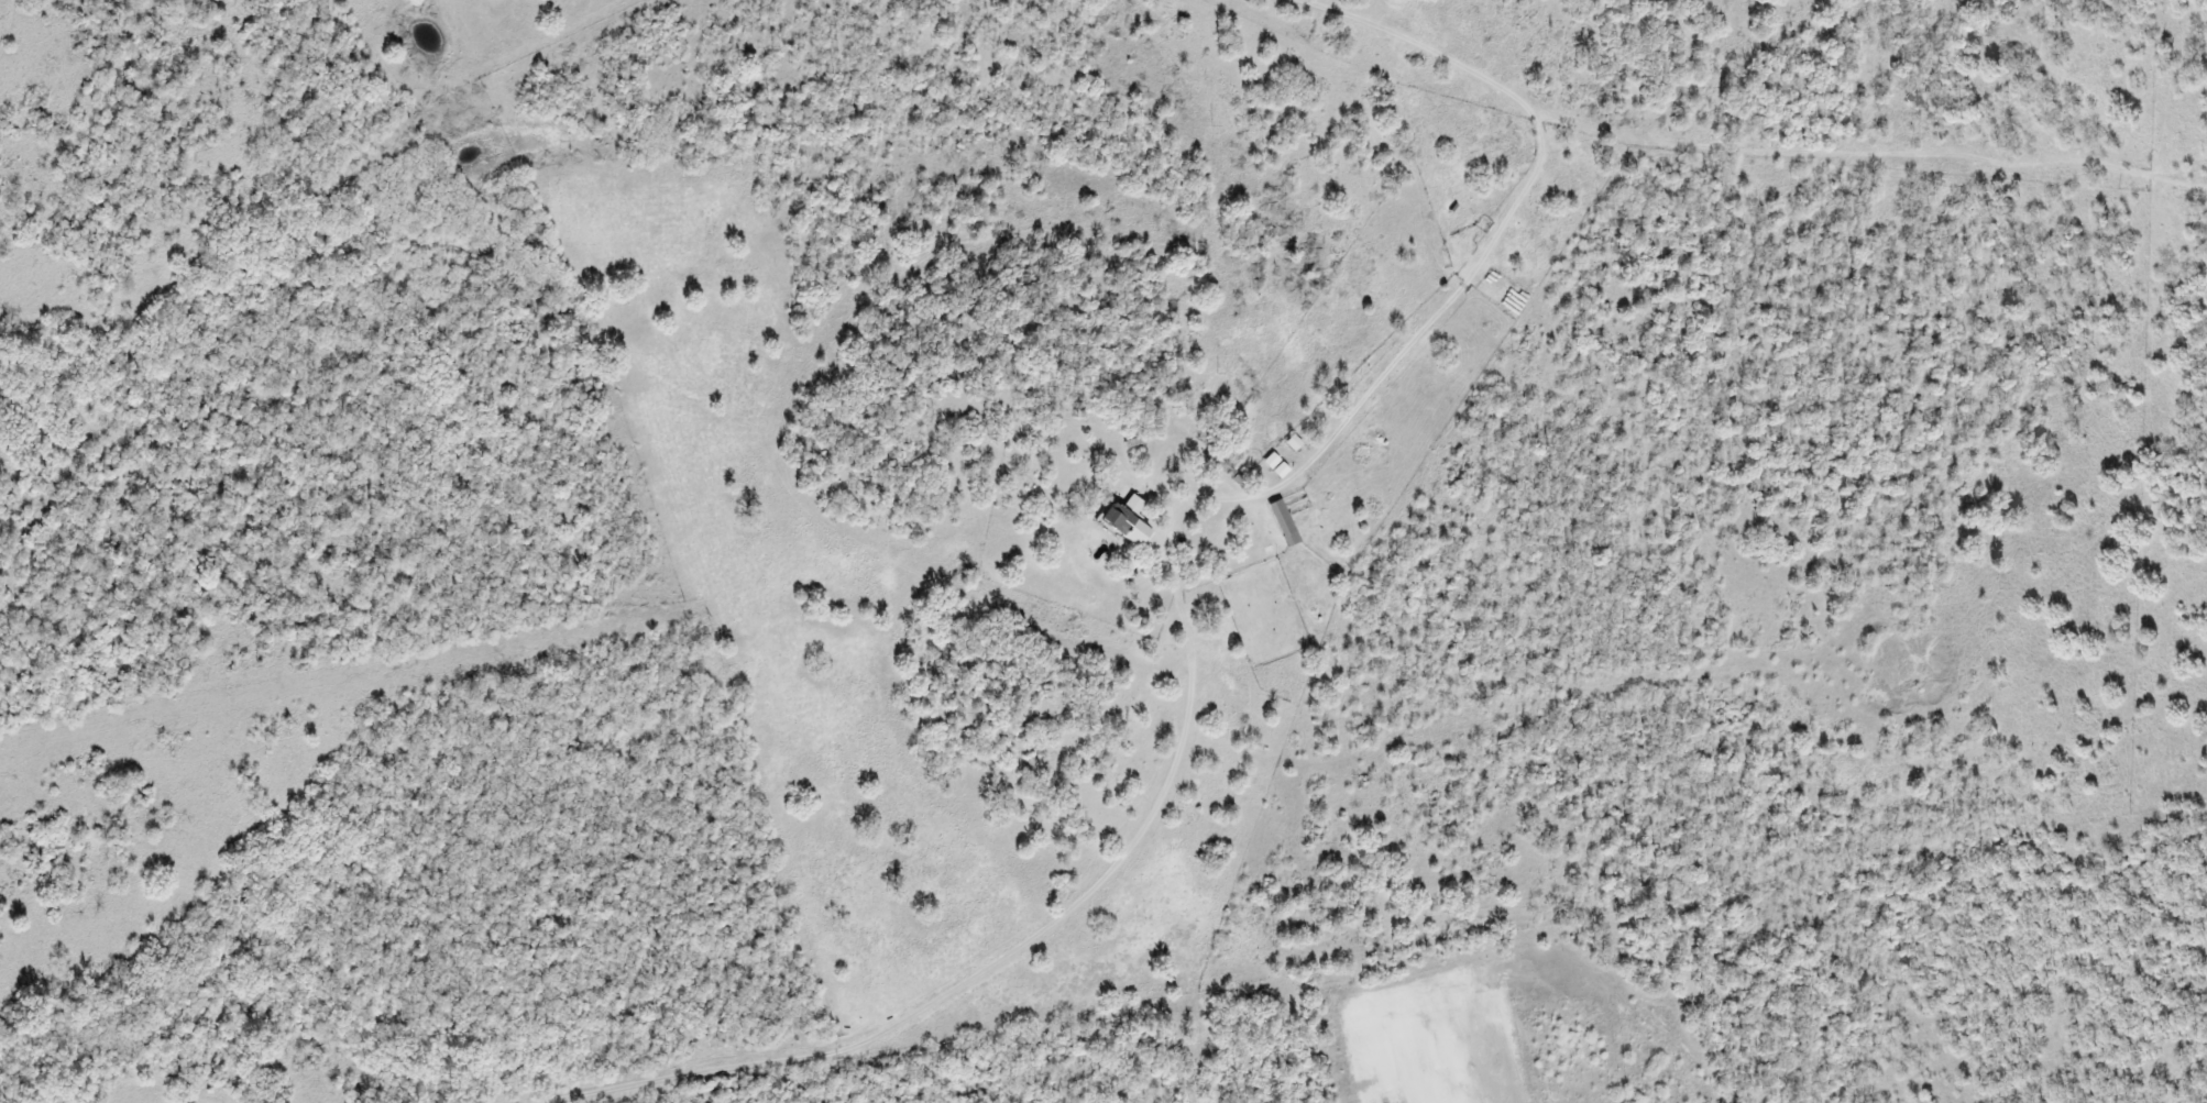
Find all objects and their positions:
road: (1700, 161)
building: (1296, 443)
building: (1277, 466)
building: (1138, 504)
building: (1287, 523)
building: (1129, 527)

